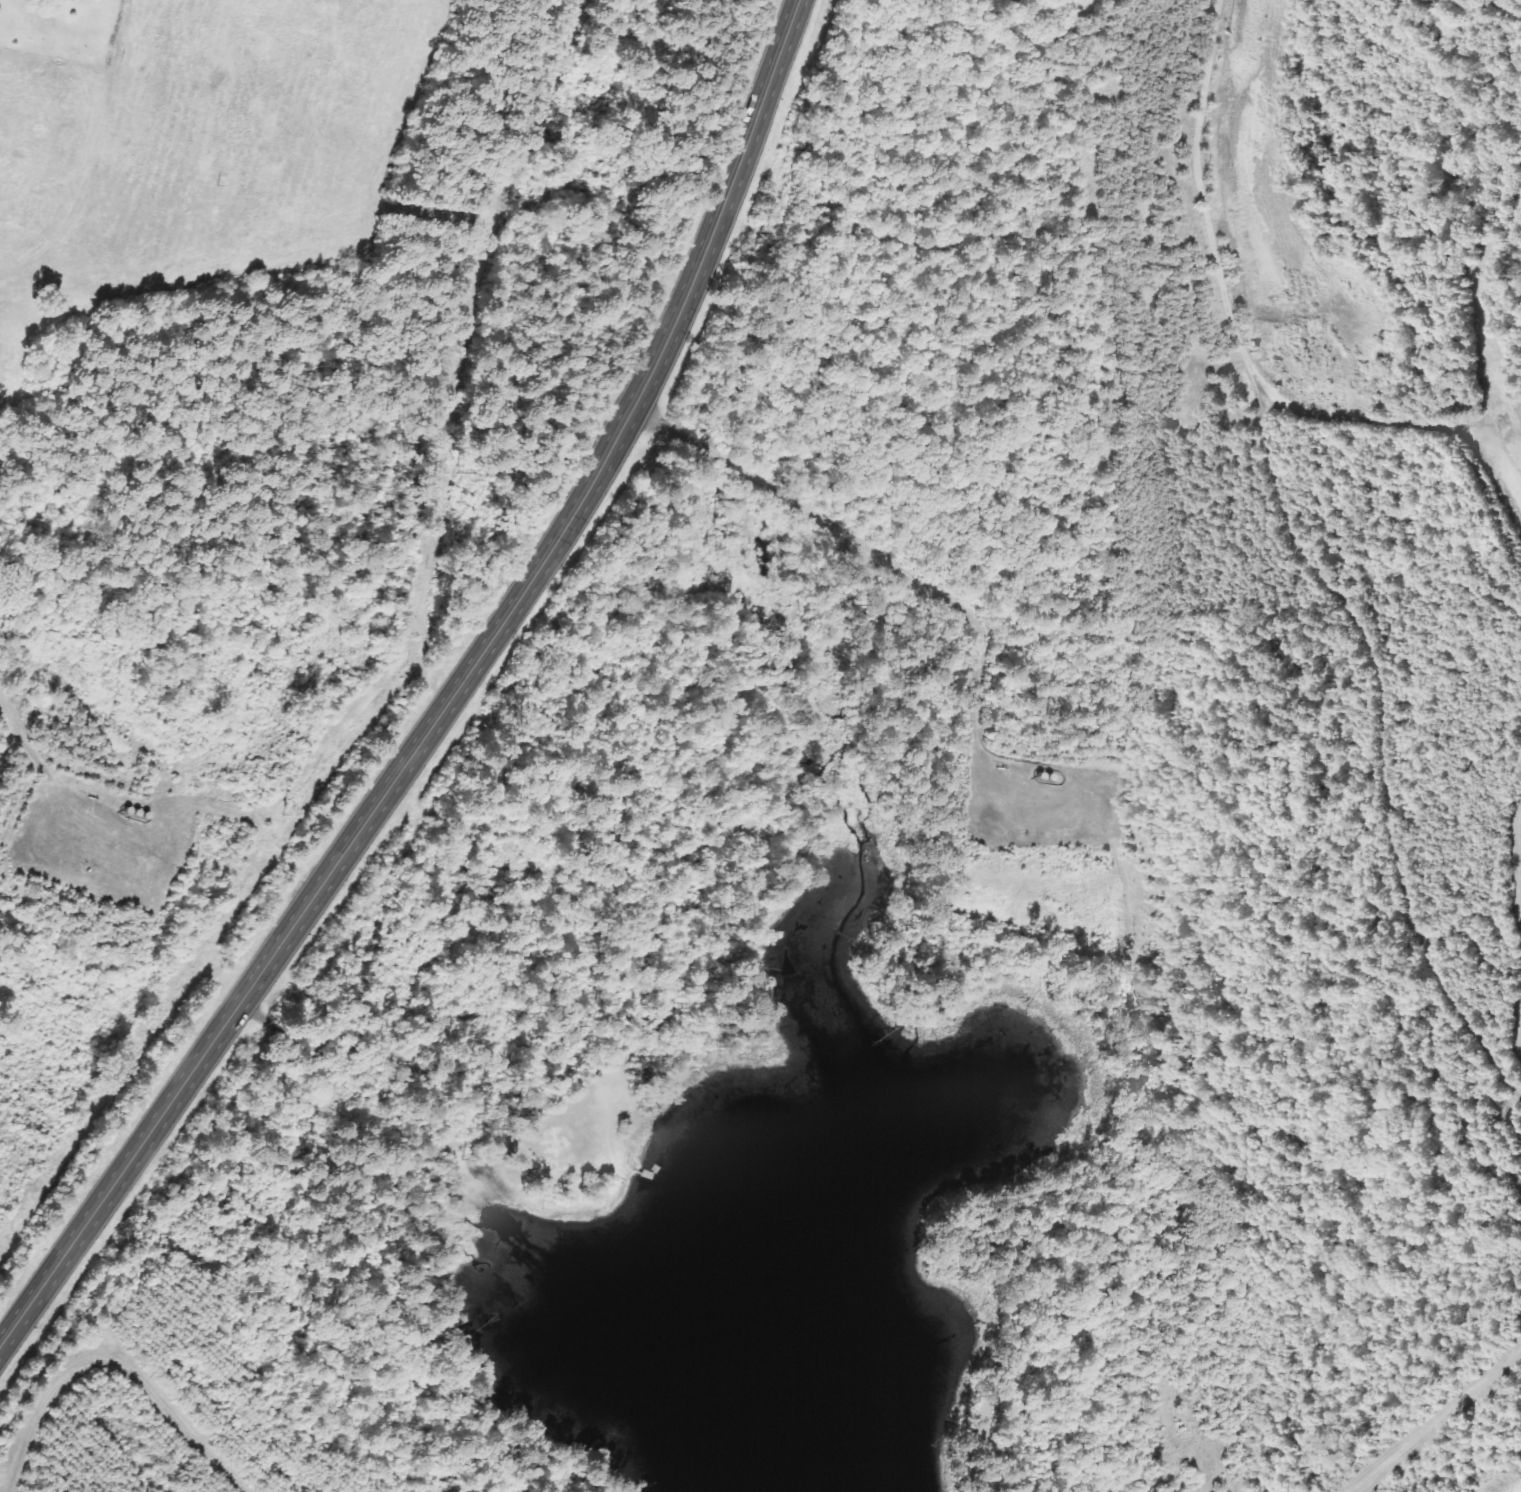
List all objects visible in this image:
building: (68, 0)
road: (449, 700)

